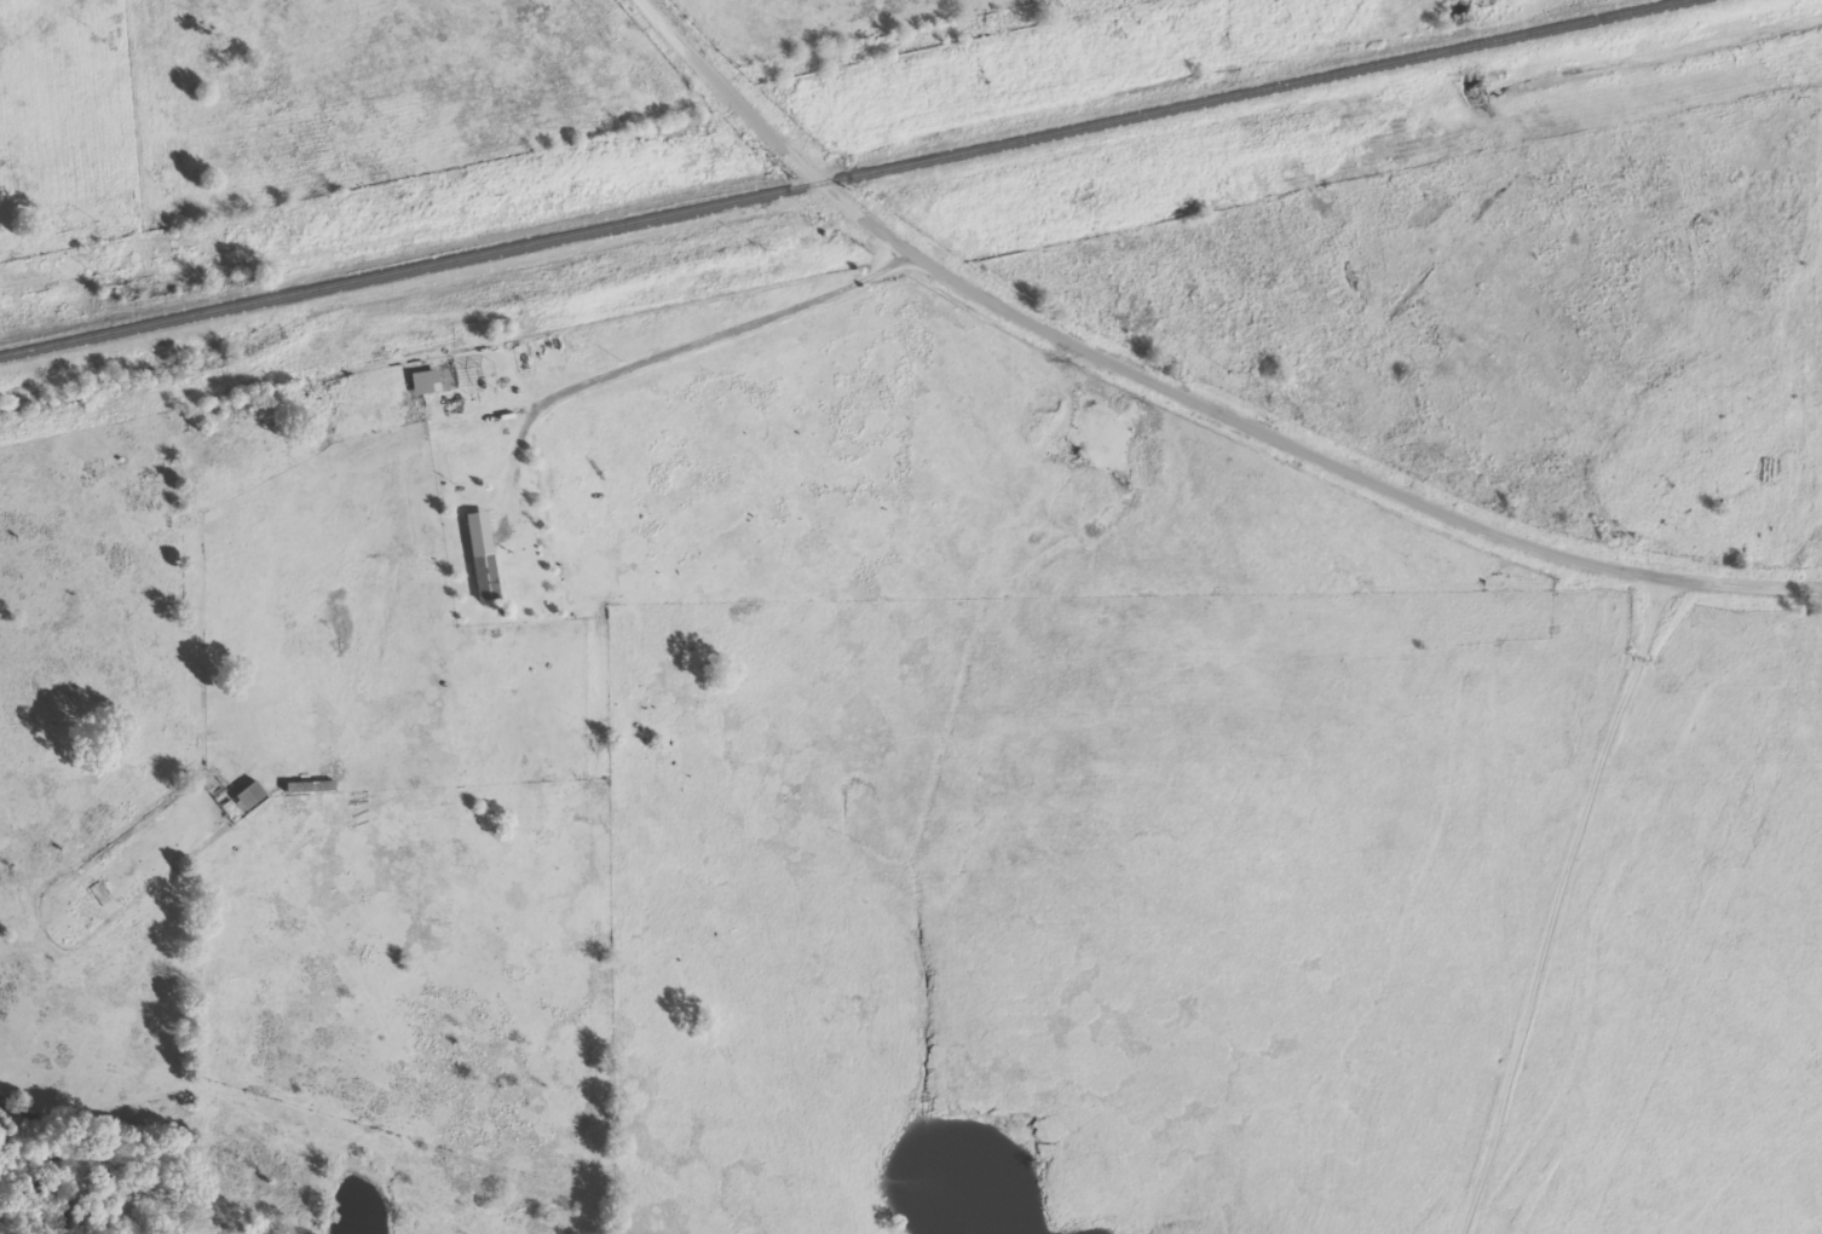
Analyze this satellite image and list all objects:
railway: (846, 175)
building: (426, 384)
road: (1177, 400)
building: (483, 558)
building: (250, 797)

